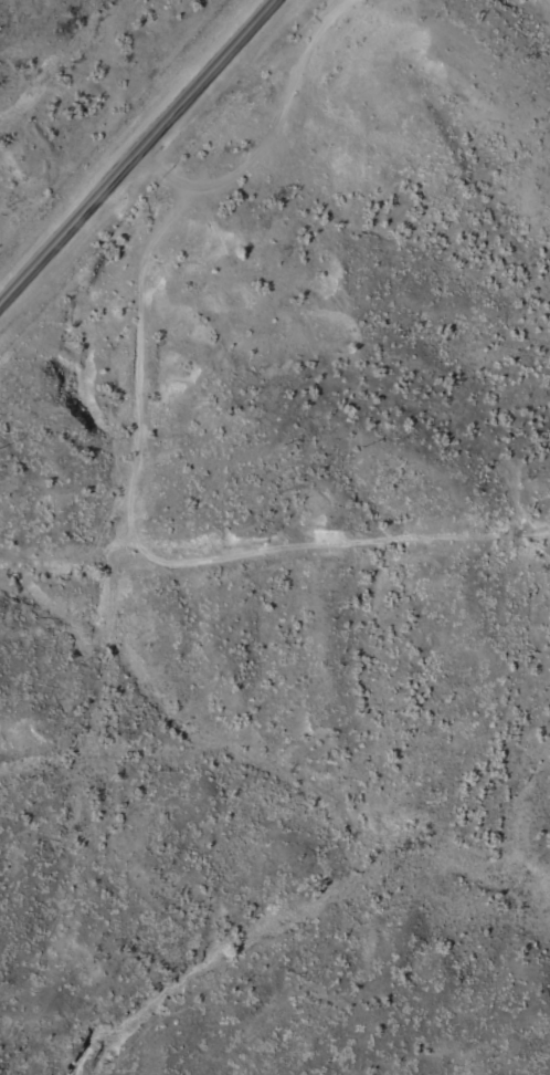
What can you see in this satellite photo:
road: (142, 157)

